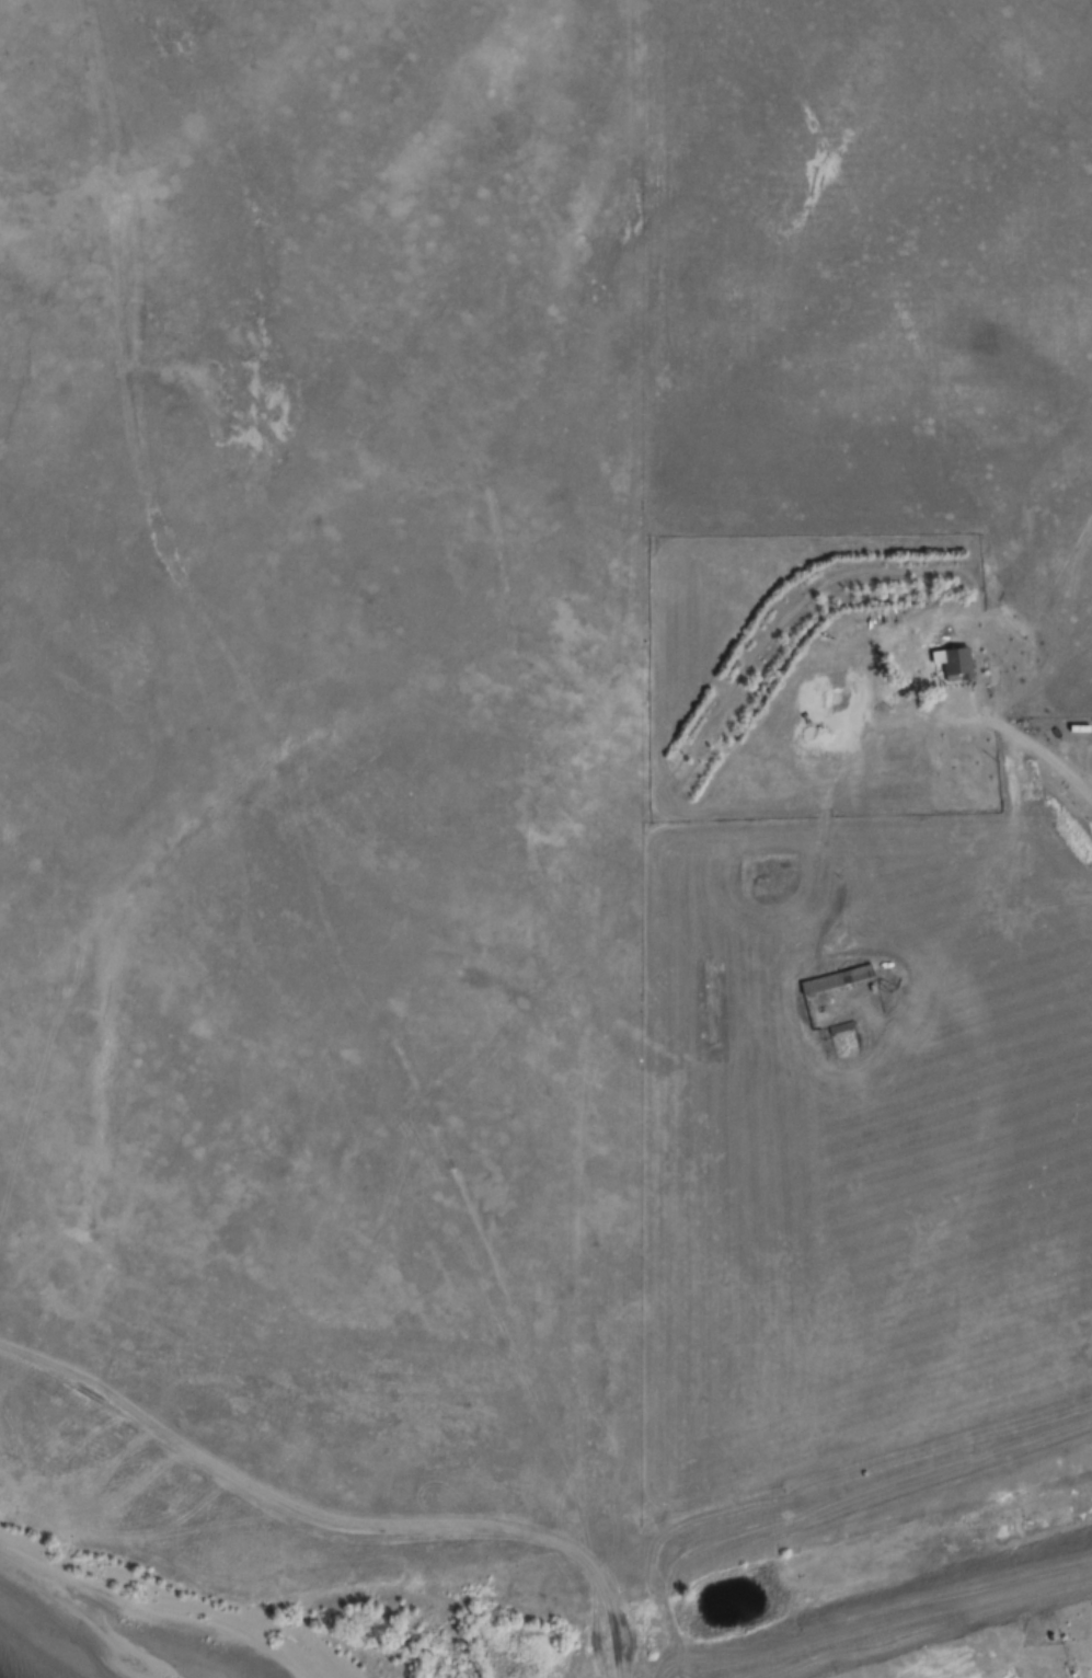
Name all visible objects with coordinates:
building: (954, 665)
building: (765, 872)
building: (835, 980)

